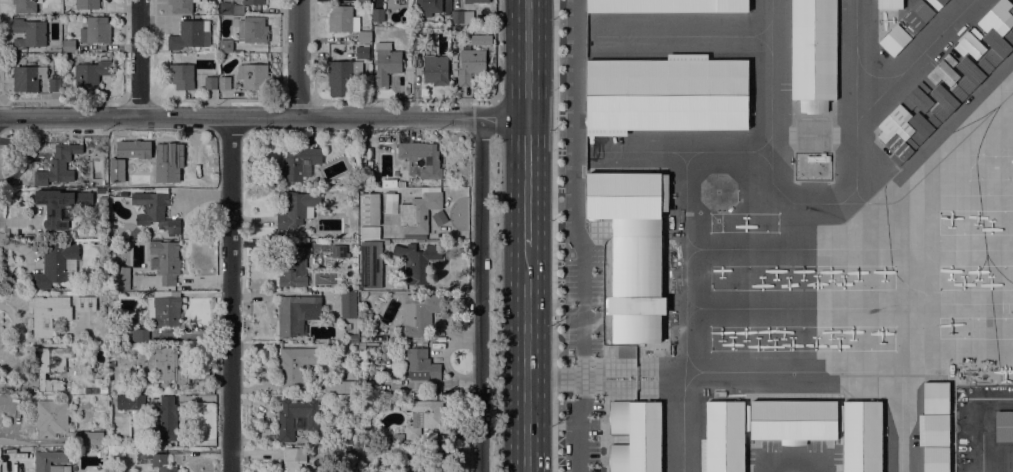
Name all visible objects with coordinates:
building: (362, 1)
building: (475, 1)
airport hangar: (888, 3)
building: (888, 3)
airport hangar: (936, 3)
building: (936, 3)
building: (86, 4)
airport hangar: (666, 5)
building: (666, 5)
building: (749, 5)
building: (25, 6)
building: (181, 6)
building: (236, 6)
building: (426, 7)
airport hangar: (1011, 9)
building: (1011, 9)
building: (377, 14)
airport hangar: (916, 16)
building: (916, 16)
airport hangar: (996, 16)
building: (996, 16)
building: (461, 17)
building: (346, 22)
building: (447, 22)
airport hangar: (1011, 27)
building: (1011, 27)
building: (252, 30)
building: (95, 31)
building: (28, 33)
building: (189, 35)
building: (479, 39)
airport hangar: (894, 39)
building: (894, 39)
airport hangar: (969, 42)
building: (969, 42)
building: (418, 44)
building: (68, 45)
airport hangar: (997, 45)
building: (997, 45)
building: (225, 46)
airport hangar: (813, 49)
building: (813, 49)
road: (495, 50)
building: (362, 52)
road: (138, 58)
road: (297, 58)
road: (525, 58)
airport taxiway: (911, 61)
building: (385, 63)
building: (470, 63)
airport taxiway: (771, 63)
building: (435, 70)
airport hangar: (942, 70)
building: (942, 70)
airport hangar: (971, 71)
building: (971, 71)
building: (90, 74)
airport taxiway: (871, 74)
building: (252, 75)
building: (181, 76)
building: (26, 77)
building: (342, 77)
building: (210, 82)
building: (224, 83)
building: (53, 85)
airport hangar: (665, 93)
building: (665, 93)
airport hangar: (917, 98)
building: (917, 98)
airport hangar: (944, 99)
building: (944, 99)
road: (354, 101)
airport taxiway: (855, 102)
building: (811, 105)
road: (488, 108)
road: (354, 116)
road: (503, 116)
road: (114, 117)
airport hangar: (894, 121)
building: (894, 121)
airport hangar: (922, 126)
building: (922, 126)
building: (370, 133)
building: (128, 148)
airport hangar: (900, 149)
building: (900, 149)
building: (422, 158)
building: (165, 162)
building: (298, 164)
building: (58, 165)
gas station: (812, 166)
airport apron: (991, 167)
road: (526, 175)
building: (118, 180)
building: (100, 190)
building: (102, 200)
building: (390, 203)
airport taxiway: (879, 204)
building: (62, 207)
building: (296, 208)
building: (370, 209)
building: (419, 211)
building: (154, 212)
building: (439, 217)
airport: (779, 231)
building: (369, 233)
building: (300, 234)
road: (553, 236)
building: (419, 241)
building: (433, 241)
building: (352, 247)
building: (339, 251)
road: (525, 253)
airport terminal: (627, 255)
building: (627, 255)
building: (165, 261)
building: (416, 262)
building: (370, 264)
building: (54, 265)
building: (292, 266)
building: (121, 278)
road: (230, 294)
road: (480, 294)
building: (85, 303)
building: (347, 305)
building: (164, 310)
building: (296, 313)
building: (48, 314)
building: (419, 314)
road: (525, 318)
building: (140, 335)
building: (363, 336)
building: (354, 338)
building: (361, 346)
building: (112, 363)
building: (418, 363)
building: (170, 364)
building: (51, 367)
building: (294, 367)
building: (111, 370)
building: (112, 378)
building: (364, 381)
building: (339, 387)
building: (103, 389)
building: (138, 389)
building: (87, 390)
building: (94, 390)
airport hangar: (934, 396)
building: (934, 396)
building: (135, 404)
building: (51, 417)
building: (296, 417)
building: (424, 417)
road: (525, 418)
airport hangar: (792, 418)
building: (792, 418)
building: (165, 419)
building: (1004, 426)
airport hangar: (935, 429)
building: (935, 429)
building: (399, 435)
parking lot: (591, 435)
airport hangar: (634, 435)
building: (634, 435)
airport hangar: (722, 436)
building: (722, 436)
airport hangar: (861, 436)
building: (861, 436)
building: (87, 438)
building: (386, 441)
building: (404, 442)
building: (349, 450)
building: (292, 459)
airport hangar: (935, 459)
building: (935, 459)
road: (790, 461)
building: (42, 462)
building: (412, 462)
building: (162, 463)
building: (347, 467)
building: (360, 467)

